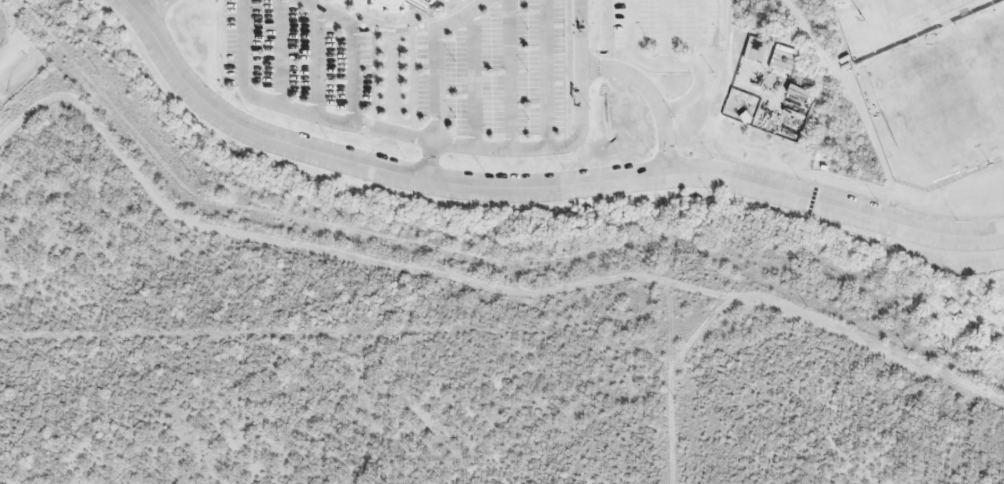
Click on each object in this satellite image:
building: (429, 1)
road: (149, 6)
park: (911, 9)
road: (329, 14)
road: (459, 16)
parking lot: (665, 23)
road: (630, 25)
road: (580, 32)
road: (664, 32)
road: (699, 32)
road: (243, 42)
road: (279, 53)
parking lot: (298, 55)
road: (317, 61)
road: (662, 65)
parking lot: (496, 71)
road: (545, 74)
road: (509, 75)
road: (354, 77)
road: (472, 78)
road: (650, 97)
road: (689, 97)
park: (952, 97)
road: (433, 105)
road: (257, 132)
road: (440, 144)
road: (727, 177)

